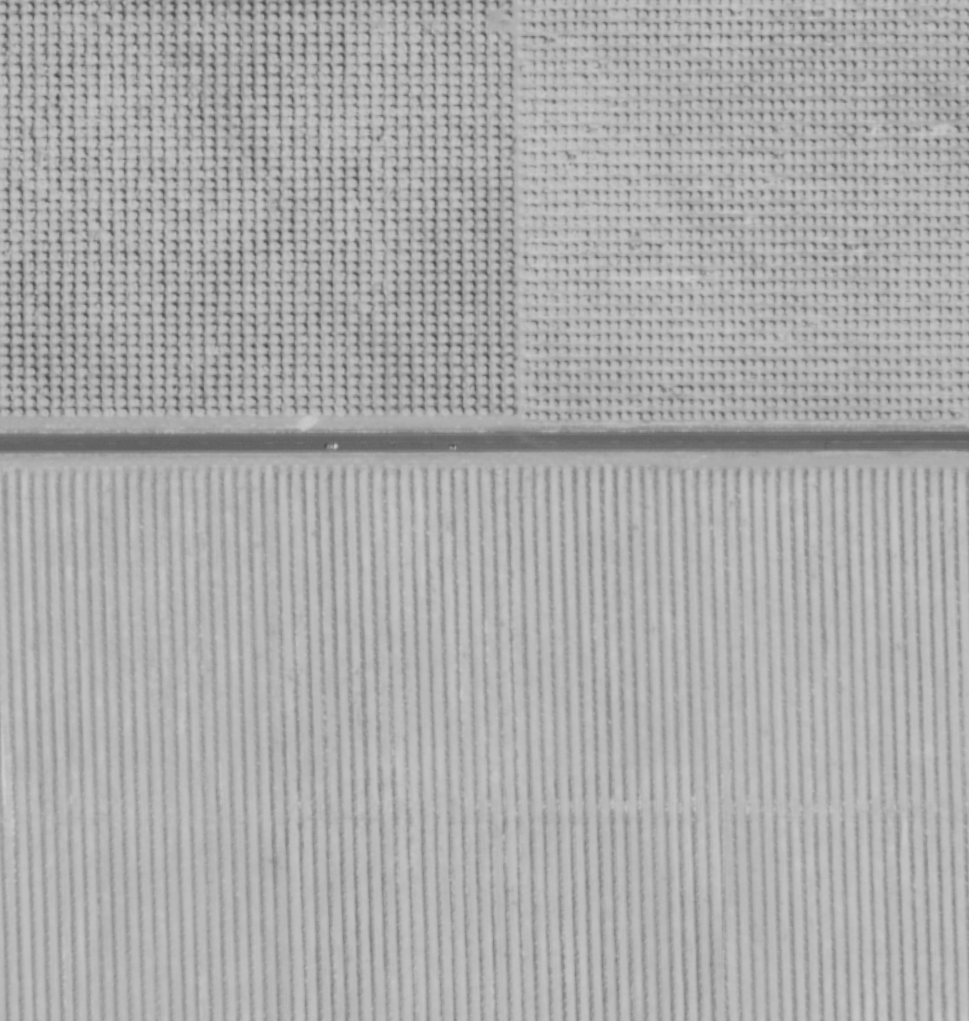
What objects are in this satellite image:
road: (484, 441)

